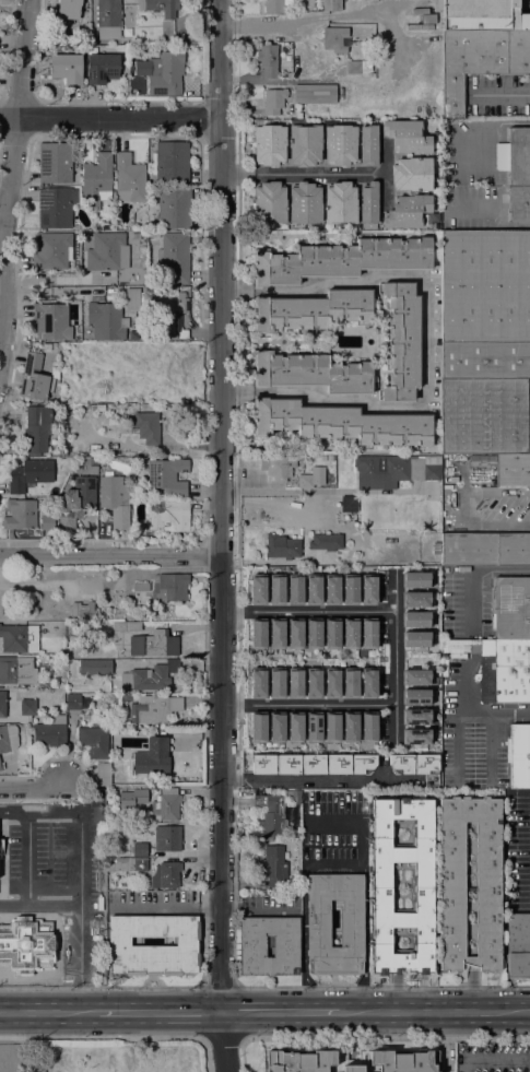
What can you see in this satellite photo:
building: (331, 4)
building: (160, 7)
building: (274, 7)
building: (69, 9)
building: (480, 15)
building: (109, 19)
building: (420, 20)
building: (334, 39)
building: (268, 60)
building: (479, 62)
building: (358, 67)
building: (66, 68)
building: (102, 69)
building: (165, 73)
road: (506, 93)
building: (319, 94)
building: (273, 101)
building: (298, 116)
road: (109, 119)
building: (407, 137)
building: (305, 143)
building: (340, 144)
building: (368, 144)
building: (270, 145)
building: (515, 157)
building: (56, 163)
building: (170, 164)
road: (10, 166)
road: (315, 174)
building: (412, 174)
road: (233, 175)
building: (97, 179)
building: (130, 179)
building: (270, 203)
building: (305, 203)
building: (341, 203)
building: (519, 204)
building: (368, 205)
building: (174, 207)
building: (55, 208)
building: (408, 212)
building: (152, 236)
building: (51, 250)
building: (107, 251)
building: (174, 258)
building: (343, 260)
building: (485, 287)
building: (134, 299)
building: (310, 310)
building: (173, 320)
building: (52, 321)
building: (106, 321)
building: (374, 331)
road: (426, 339)
building: (403, 341)
building: (83, 357)
building: (485, 360)
building: (311, 373)
building: (34, 378)
building: (87, 385)
building: (67, 397)
building: (484, 416)
building: (340, 423)
building: (144, 426)
building: (37, 428)
building: (167, 429)
building: (280, 468)
building: (397, 469)
building: (506, 470)
building: (30, 474)
building: (167, 475)
building: (311, 481)
building: (115, 499)
building: (76, 502)
building: (349, 504)
building: (20, 514)
building: (168, 515)
building: (47, 522)
road: (222, 535)
building: (326, 542)
building: (281, 546)
building: (484, 549)
road: (110, 555)
road: (471, 573)
building: (416, 579)
building: (141, 587)
building: (168, 588)
building: (258, 589)
building: (276, 589)
building: (294, 589)
building: (313, 589)
building: (331, 589)
building: (350, 589)
building: (368, 589)
building: (416, 599)
building: (113, 600)
building: (510, 608)
building: (83, 610)
road: (328, 612)
building: (416, 620)
building: (126, 626)
building: (51, 628)
building: (275, 633)
building: (294, 633)
building: (258, 634)
building: (313, 634)
building: (331, 634)
building: (350, 634)
building: (368, 634)
building: (19, 638)
building: (416, 639)
building: (461, 641)
building: (154, 644)
building: (487, 647)
building: (455, 648)
building: (466, 648)
building: (444, 660)
building: (94, 667)
building: (16, 670)
building: (511, 671)
building: (416, 678)
building: (145, 679)
road: (394, 680)
building: (258, 683)
building: (276, 683)
building: (294, 683)
building: (314, 683)
building: (350, 683)
building: (368, 683)
building: (332, 684)
building: (82, 691)
building: (416, 697)
building: (126, 698)
building: (75, 702)
building: (2, 704)
road: (308, 705)
building: (27, 706)
building: (154, 709)
road: (462, 715)
building: (416, 716)
building: (295, 727)
building: (314, 727)
building: (332, 727)
building: (351, 727)
building: (258, 728)
building: (276, 728)
building: (368, 728)
building: (51, 732)
building: (416, 737)
building: (8, 738)
building: (94, 740)
building: (519, 756)
building: (152, 757)
building: (412, 764)
building: (1, 766)
building: (103, 774)
building: (275, 774)
building: (343, 779)
road: (318, 780)
road: (32, 789)
building: (134, 796)
building: (165, 805)
building: (271, 813)
building: (167, 838)
building: (1, 841)
building: (139, 846)
building: (0, 848)
road: (84, 856)
building: (451, 856)
building: (127, 864)
road: (332, 865)
building: (274, 868)
building: (165, 875)
building: (382, 886)
building: (62, 892)
road: (28, 893)
road: (167, 906)
building: (316, 929)
building: (119, 943)
building: (252, 946)
building: (518, 946)
building: (62, 952)
road: (219, 986)
road: (99, 987)
road: (385, 987)
road: (23, 992)
road: (471, 992)
road: (81, 997)
road: (160, 1011)
road: (281, 1011)
road: (49, 1012)
road: (435, 1012)
road: (102, 1037)
road: (223, 1038)
road: (387, 1038)
road: (205, 1055)
building: (352, 1061)

